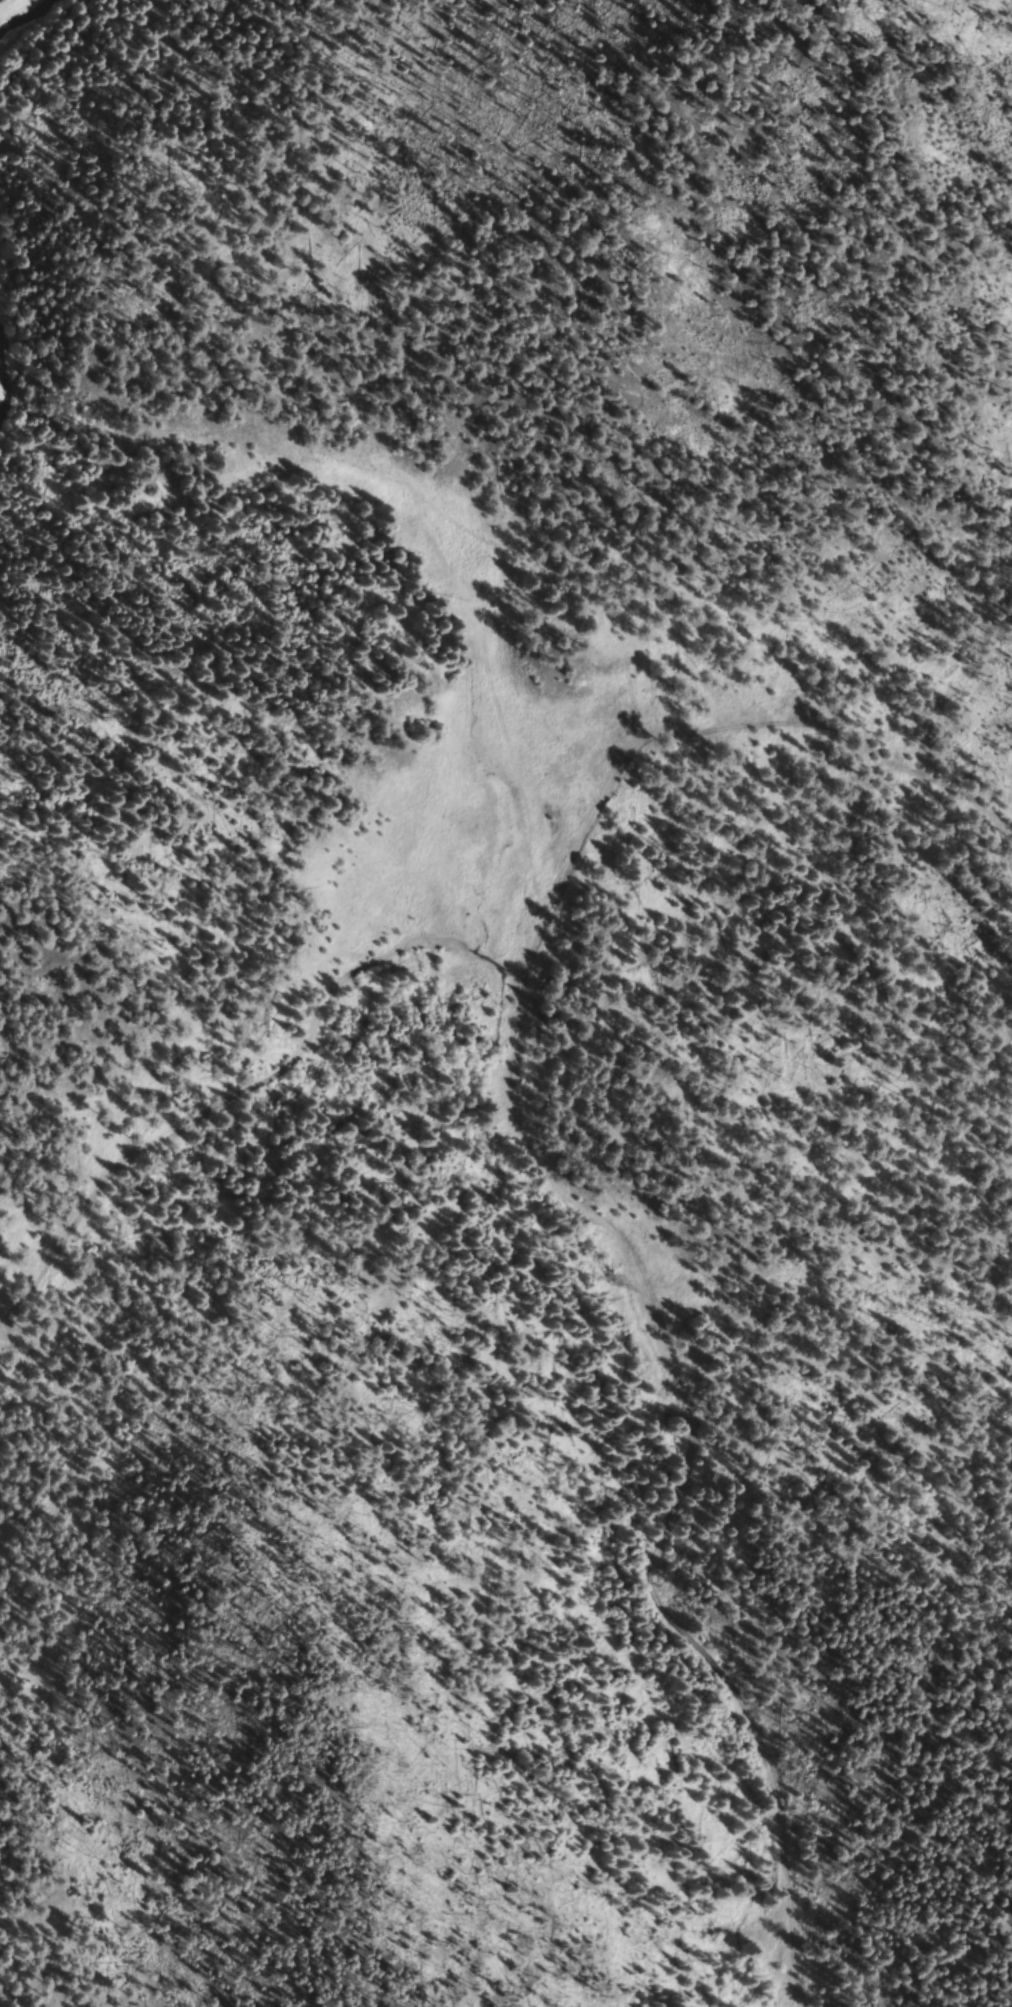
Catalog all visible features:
river: (23, 17)
river: (0, 373)

